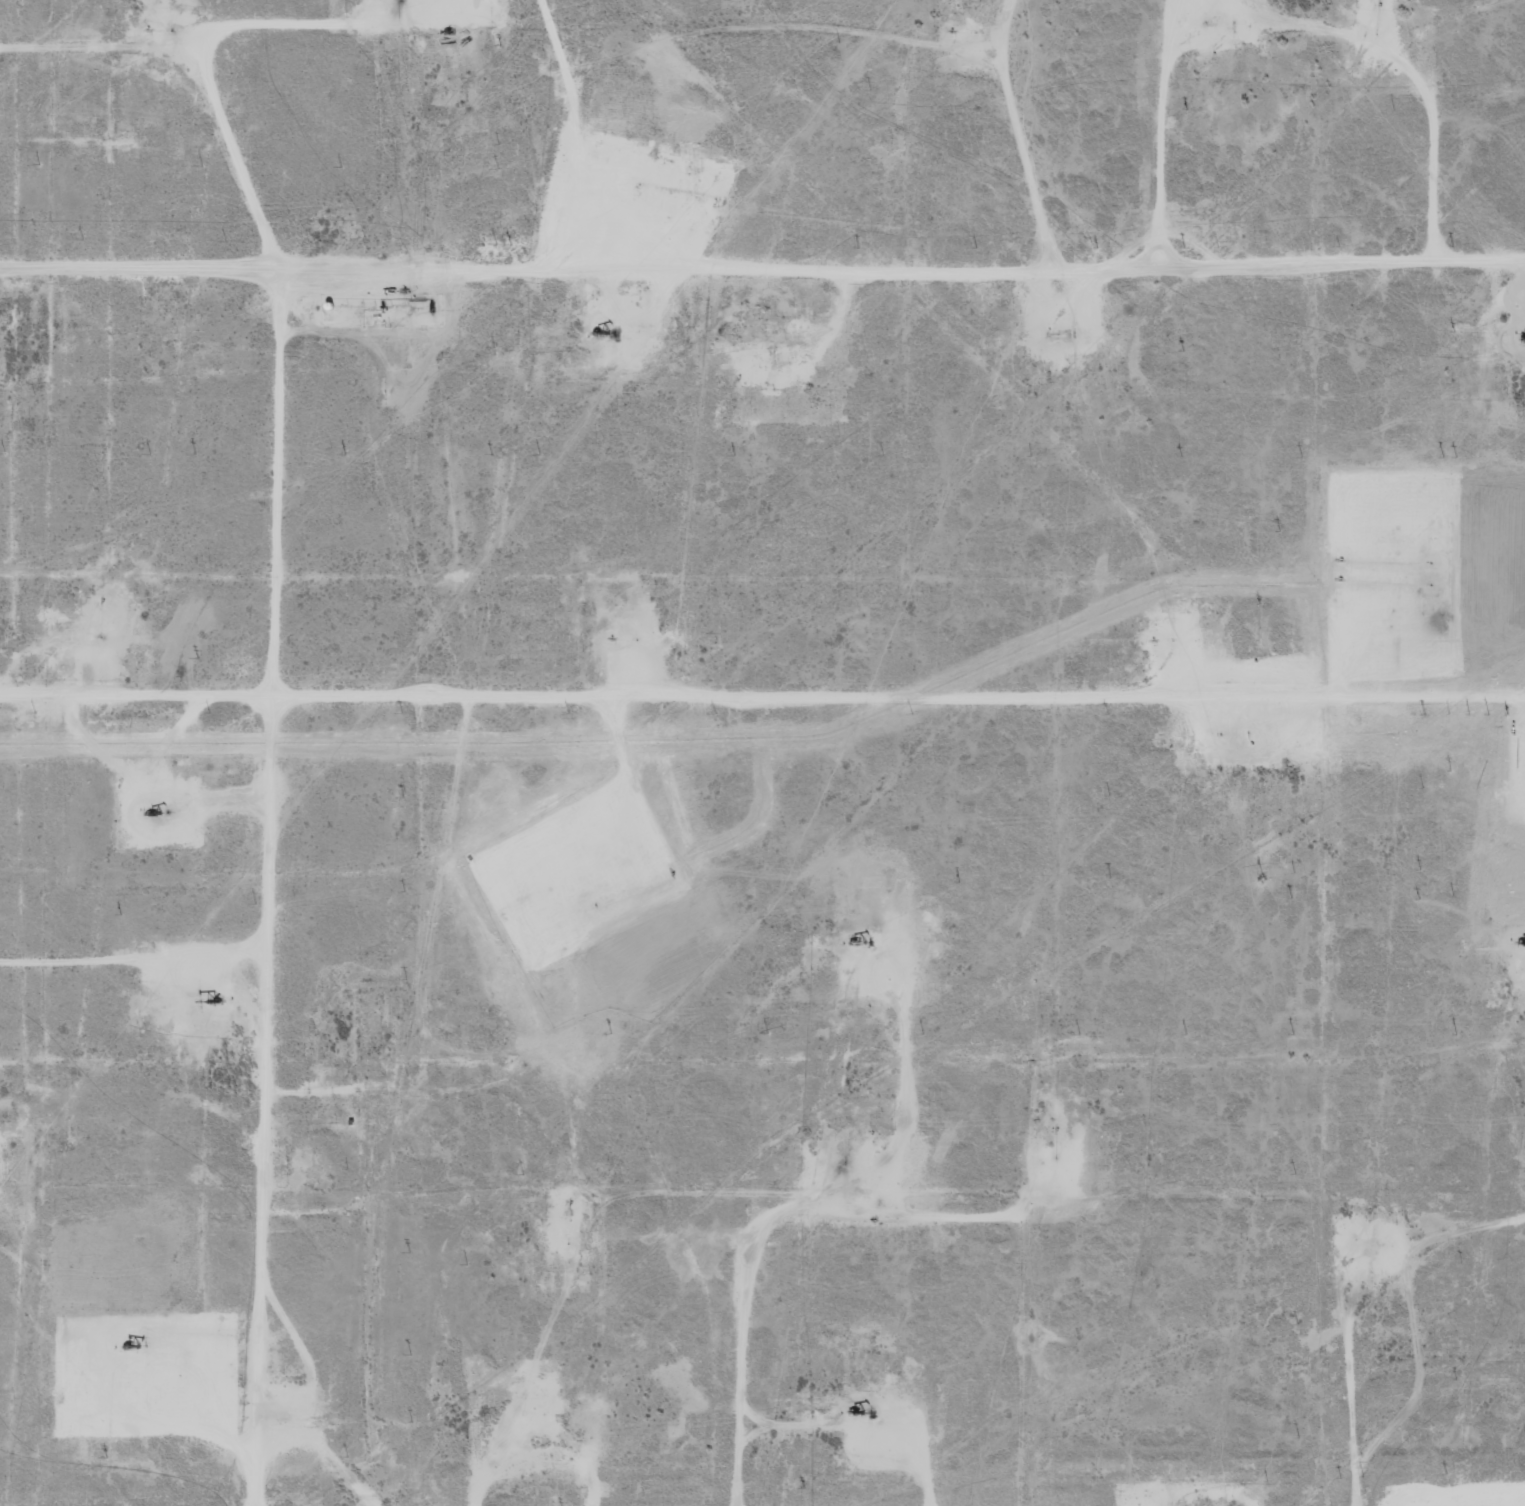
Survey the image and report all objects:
road: (762, 238)
road: (285, 674)
road: (762, 684)
road: (1044, 1197)

